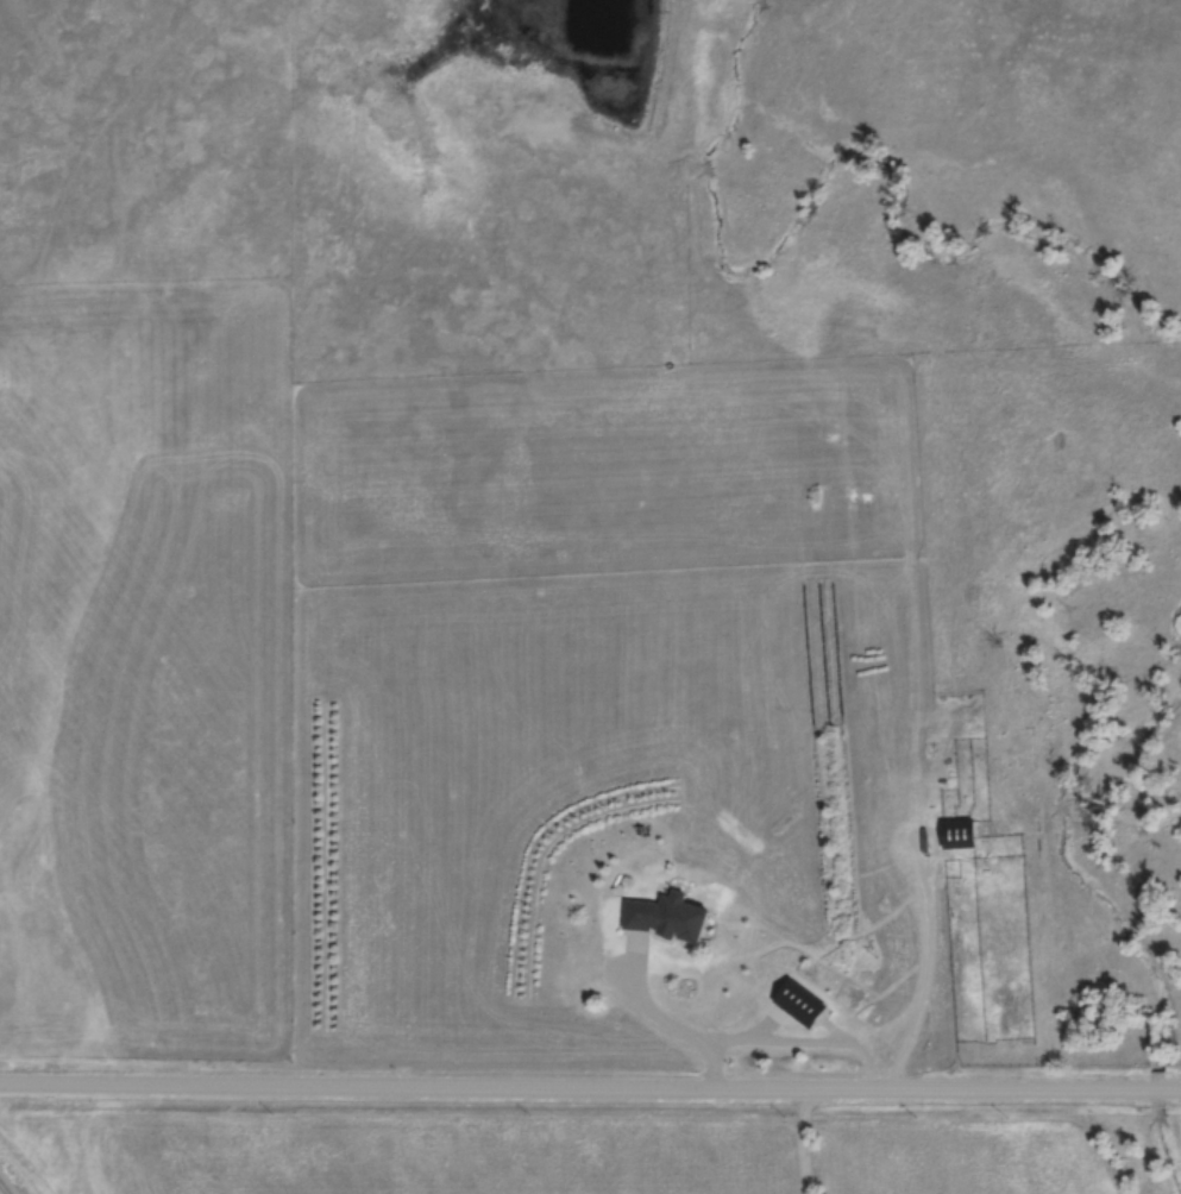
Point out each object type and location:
building: (660, 919)
building: (794, 1006)
road: (519, 1087)
road: (1108, 1091)
railway: (1, 1192)

